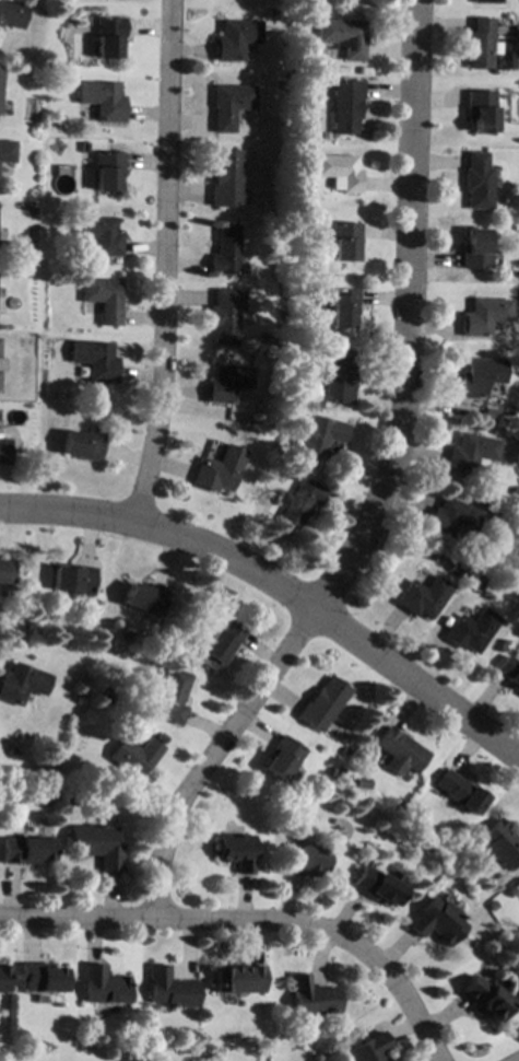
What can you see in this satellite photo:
building: (485, 1)
building: (11, 13)
building: (516, 28)
building: (106, 36)
building: (342, 36)
building: (233, 39)
building: (479, 44)
building: (0, 70)
building: (101, 100)
building: (228, 105)
building: (345, 106)
building: (480, 110)
building: (5, 152)
building: (106, 171)
building: (338, 171)
building: (225, 178)
building: (476, 182)
building: (98, 235)
building: (344, 241)
building: (474, 249)
building: (224, 250)
road: (158, 263)
building: (103, 299)
building: (341, 307)
building: (227, 313)
building: (484, 315)
building: (261, 337)
building: (94, 360)
building: (518, 369)
building: (338, 376)
building: (481, 376)
building: (225, 383)
building: (20, 413)
building: (320, 435)
building: (82, 444)
building: (3, 452)
building: (472, 453)
building: (219, 469)
building: (287, 475)
road: (378, 490)
building: (516, 491)
building: (299, 503)
building: (451, 518)
building: (517, 525)
building: (5, 571)
building: (72, 579)
building: (477, 586)
road: (282, 591)
building: (143, 597)
building: (422, 597)
building: (471, 630)
building: (518, 631)
building: (219, 644)
building: (509, 671)
building: (21, 683)
building: (172, 697)
building: (320, 703)
building: (400, 750)
building: (134, 756)
building: (280, 757)
building: (334, 772)
building: (361, 783)
building: (459, 792)
building: (72, 800)
building: (47, 801)
building: (502, 842)
building: (95, 844)
building: (24, 849)
building: (235, 851)
building: (303, 861)
building: (375, 885)
building: (518, 887)
road: (252, 920)
building: (435, 921)
building: (2, 978)
building: (40, 978)
building: (238, 978)
building: (103, 986)
building: (169, 989)
building: (312, 996)
building: (482, 998)
building: (331, 1047)
building: (370, 1048)

